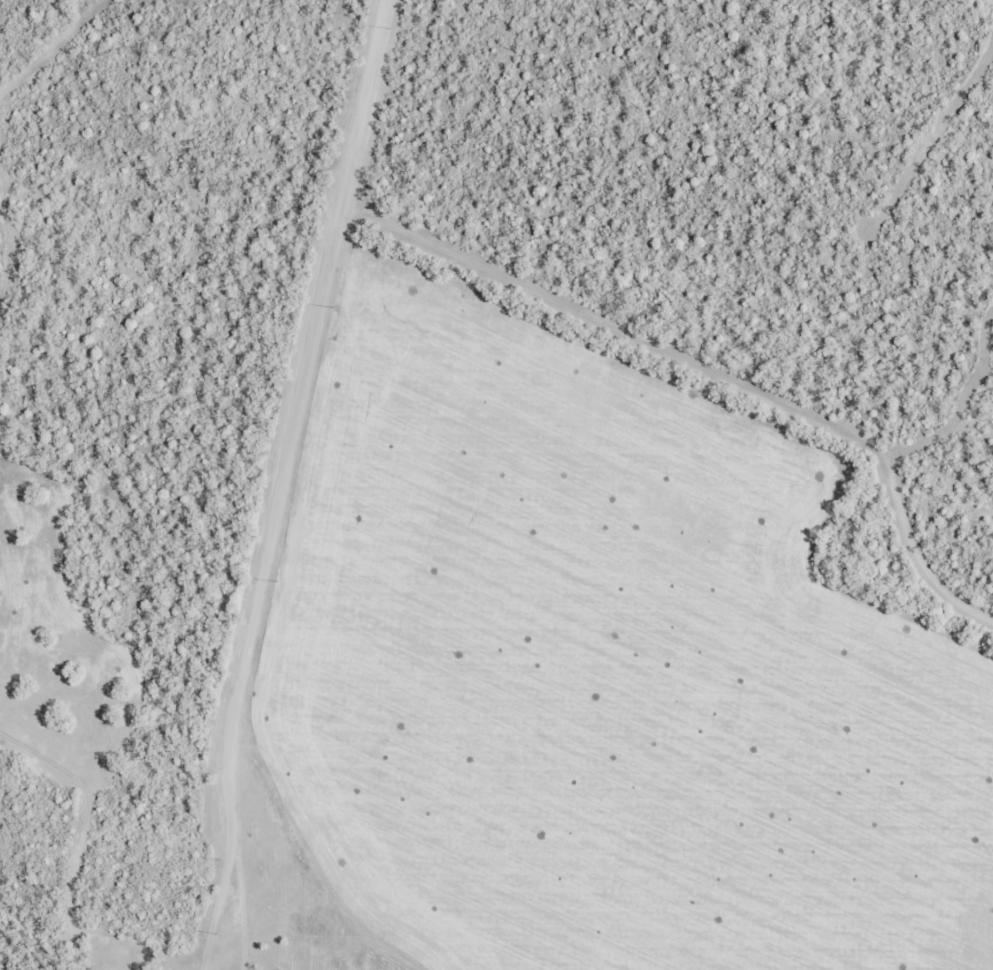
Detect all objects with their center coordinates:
road: (272, 481)

